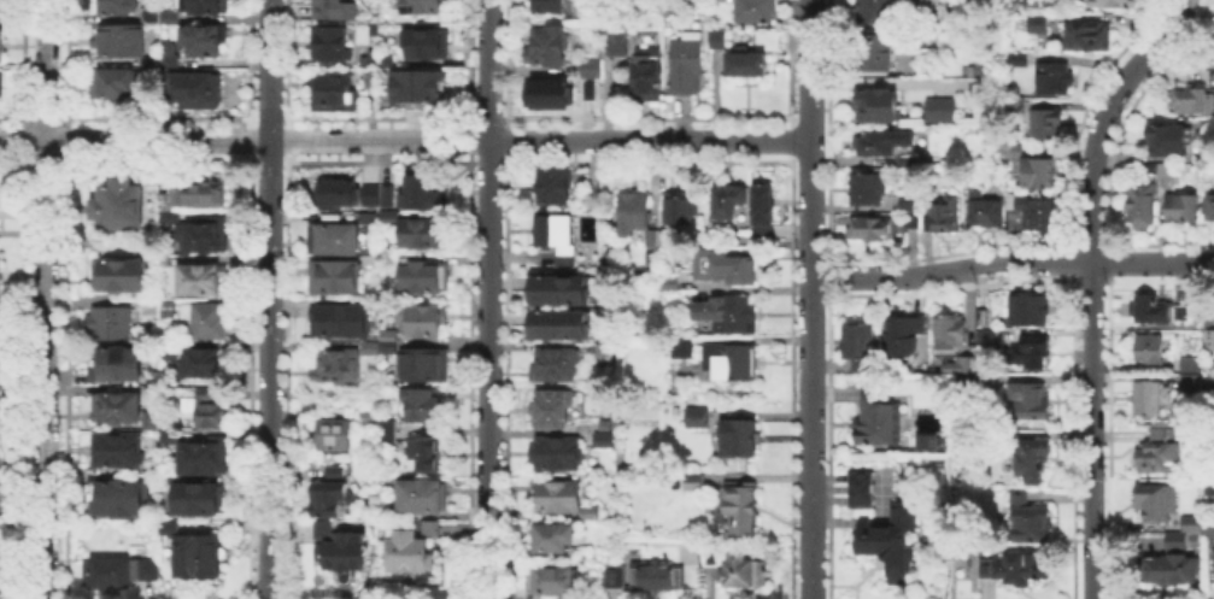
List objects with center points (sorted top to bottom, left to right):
building: (1113, 4)
building: (547, 5)
building: (121, 7)
building: (206, 7)
building: (424, 7)
building: (336, 10)
building: (0, 11)
building: (874, 11)
building: (756, 12)
building: (152, 18)
building: (169, 19)
building: (1040, 23)
building: (0, 33)
building: (1084, 35)
building: (720, 40)
building: (545, 42)
building: (122, 43)
building: (204, 43)
building: (621, 43)
building: (333, 45)
building: (2, 46)
building: (430, 46)
building: (885, 51)
building: (170, 52)
building: (1019, 58)
building: (151, 63)
building: (688, 64)
building: (588, 65)
building: (751, 65)
road: (488, 70)
building: (651, 71)
building: (374, 80)
building: (1055, 80)
building: (115, 84)
building: (1, 86)
building: (974, 86)
building: (417, 88)
building: (587, 89)
building: (338, 90)
building: (549, 92)
building: (199, 94)
building: (1192, 99)
building: (879, 107)
building: (943, 113)
building: (1043, 121)
road: (404, 141)
building: (1162, 142)
building: (886, 143)
building: (1013, 148)
building: (1200, 151)
building: (1153, 170)
building: (1168, 172)
building: (1040, 175)
building: (152, 178)
building: (551, 182)
building: (339, 189)
building: (868, 189)
building: (203, 190)
building: (387, 192)
building: (424, 193)
building: (168, 198)
building: (729, 200)
building: (368, 202)
building: (1143, 204)
building: (767, 205)
building: (1210, 207)
building: (682, 209)
building: (1184, 209)
building: (122, 211)
building: (634, 212)
building: (933, 212)
building: (986, 212)
building: (1038, 215)
building: (371, 223)
building: (873, 229)
building: (417, 230)
building: (555, 234)
building: (204, 235)
building: (663, 235)
building: (652, 239)
building: (334, 240)
building: (373, 257)
road: (1011, 263)
building: (723, 265)
building: (122, 276)
building: (426, 277)
building: (335, 278)
building: (206, 280)
building: (669, 283)
road: (1092, 284)
building: (563, 292)
road: (46, 299)
road: (269, 299)
road: (810, 299)
building: (153, 310)
building: (1032, 310)
building: (729, 312)
building: (1156, 312)
building: (1181, 312)
building: (1, 319)
building: (342, 321)
building: (421, 322)
building: (212, 324)
building: (562, 327)
building: (116, 328)
building: (951, 333)
building: (904, 334)
building: (389, 335)
building: (981, 335)
building: (1210, 337)
building: (858, 342)
building: (1153, 348)
building: (381, 351)
building: (685, 351)
building: (171, 352)
building: (1032, 353)
building: (733, 362)
building: (203, 364)
building: (970, 365)
building: (1191, 365)
building: (557, 366)
building: (122, 368)
building: (339, 368)
building: (427, 368)
road: (488, 370)
building: (1191, 381)
building: (1150, 398)
building: (1032, 406)
building: (424, 409)
building: (206, 410)
building: (118, 411)
building: (553, 411)
building: (370, 415)
building: (699, 418)
building: (879, 419)
building: (391, 433)
building: (332, 434)
building: (602, 437)
building: (925, 439)
building: (171, 440)
building: (740, 440)
building: (121, 452)
building: (1161, 453)
building: (1034, 454)
building: (557, 456)
building: (424, 457)
building: (207, 458)
building: (336, 471)
building: (694, 482)
building: (1208, 487)
building: (861, 491)
building: (555, 494)
building: (423, 498)
building: (332, 500)
building: (125, 501)
building: (205, 501)
building: (1156, 504)
building: (744, 509)
building: (587, 510)
building: (1030, 519)
building: (1197, 525)
building: (1210, 527)
building: (324, 530)
building: (432, 530)
building: (551, 535)
building: (890, 540)
building: (1179, 544)
building: (579, 552)
building: (347, 554)
building: (410, 554)
building: (711, 556)
building: (201, 557)
building: (1016, 569)
building: (1173, 569)
building: (746, 572)
building: (110, 574)
building: (612, 574)
building: (652, 574)
building: (553, 583)

